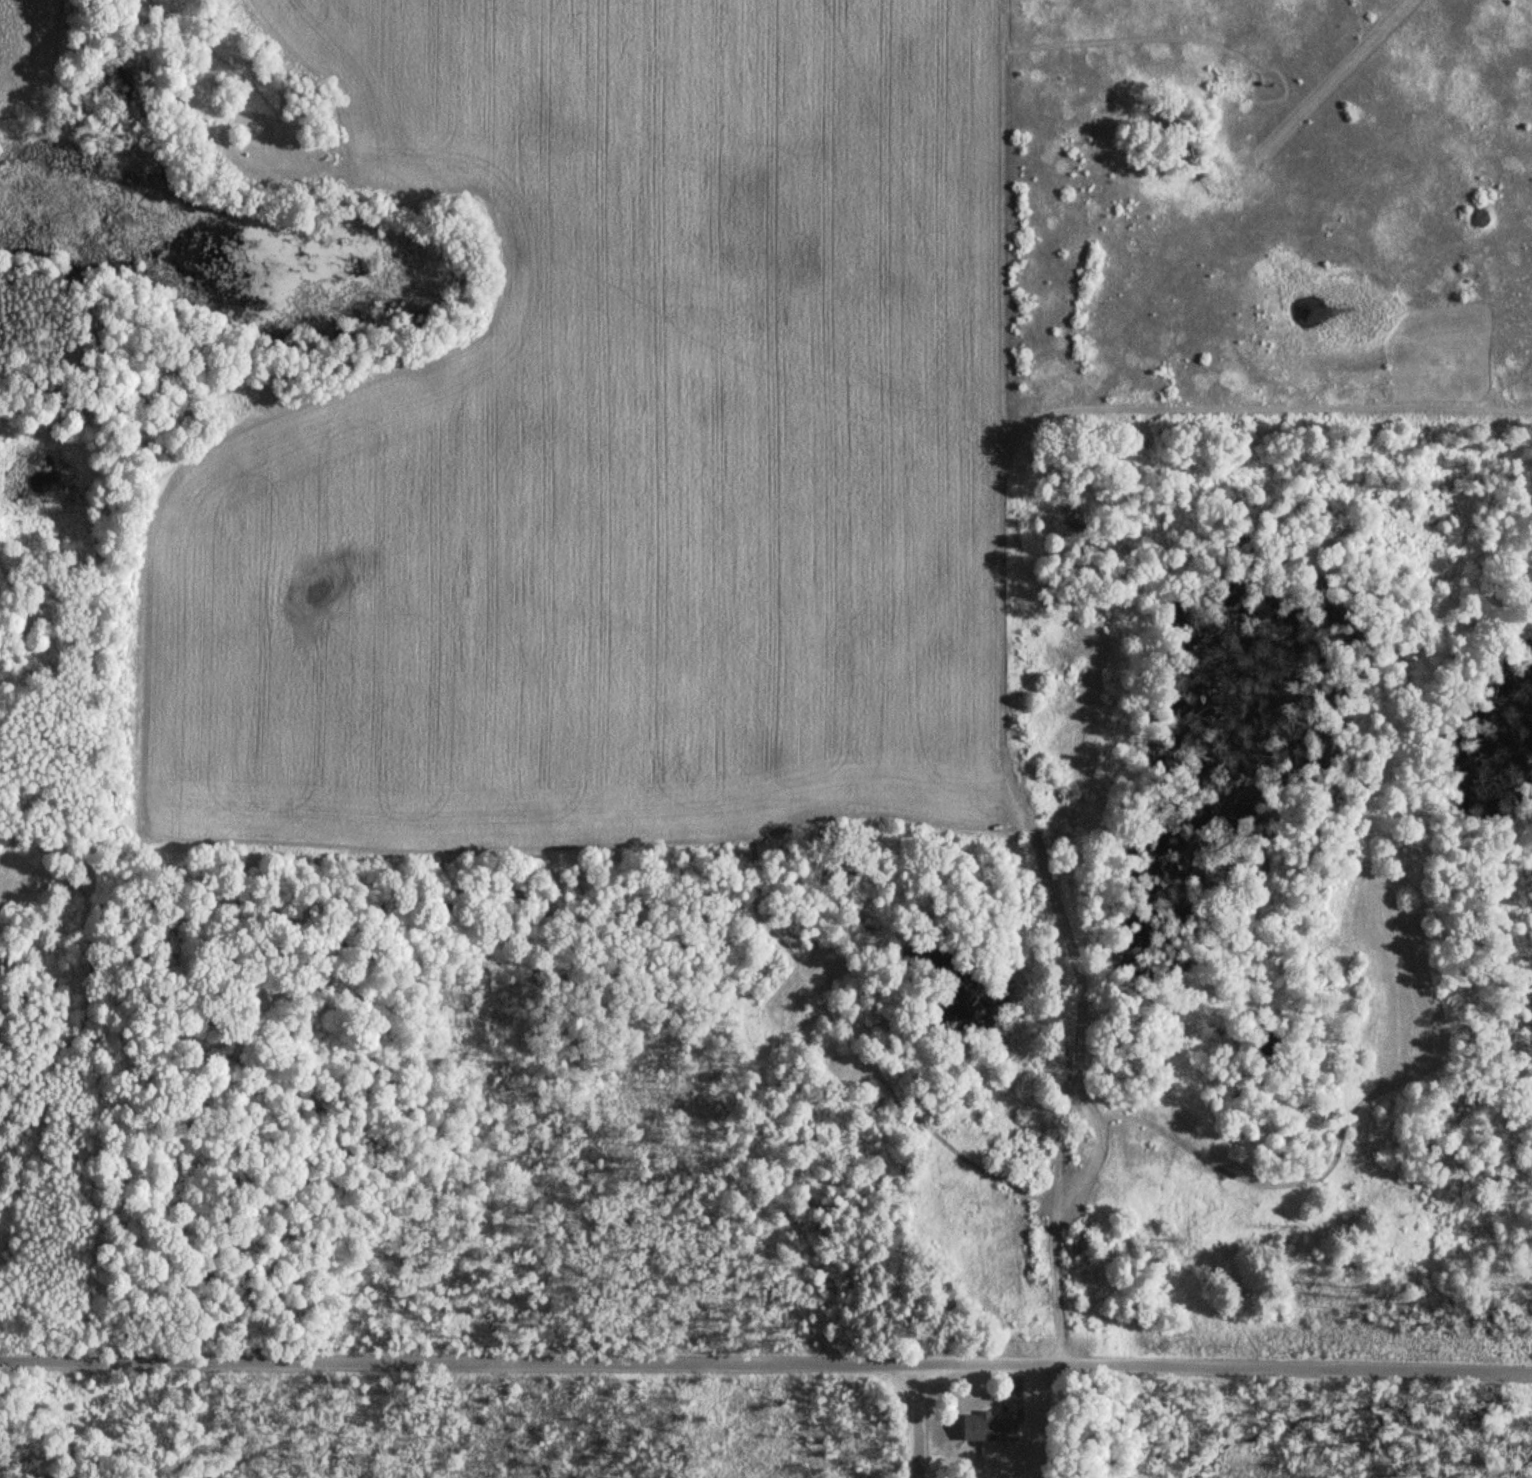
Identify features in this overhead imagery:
road: (766, 1365)
road: (918, 1422)
building: (983, 1427)

